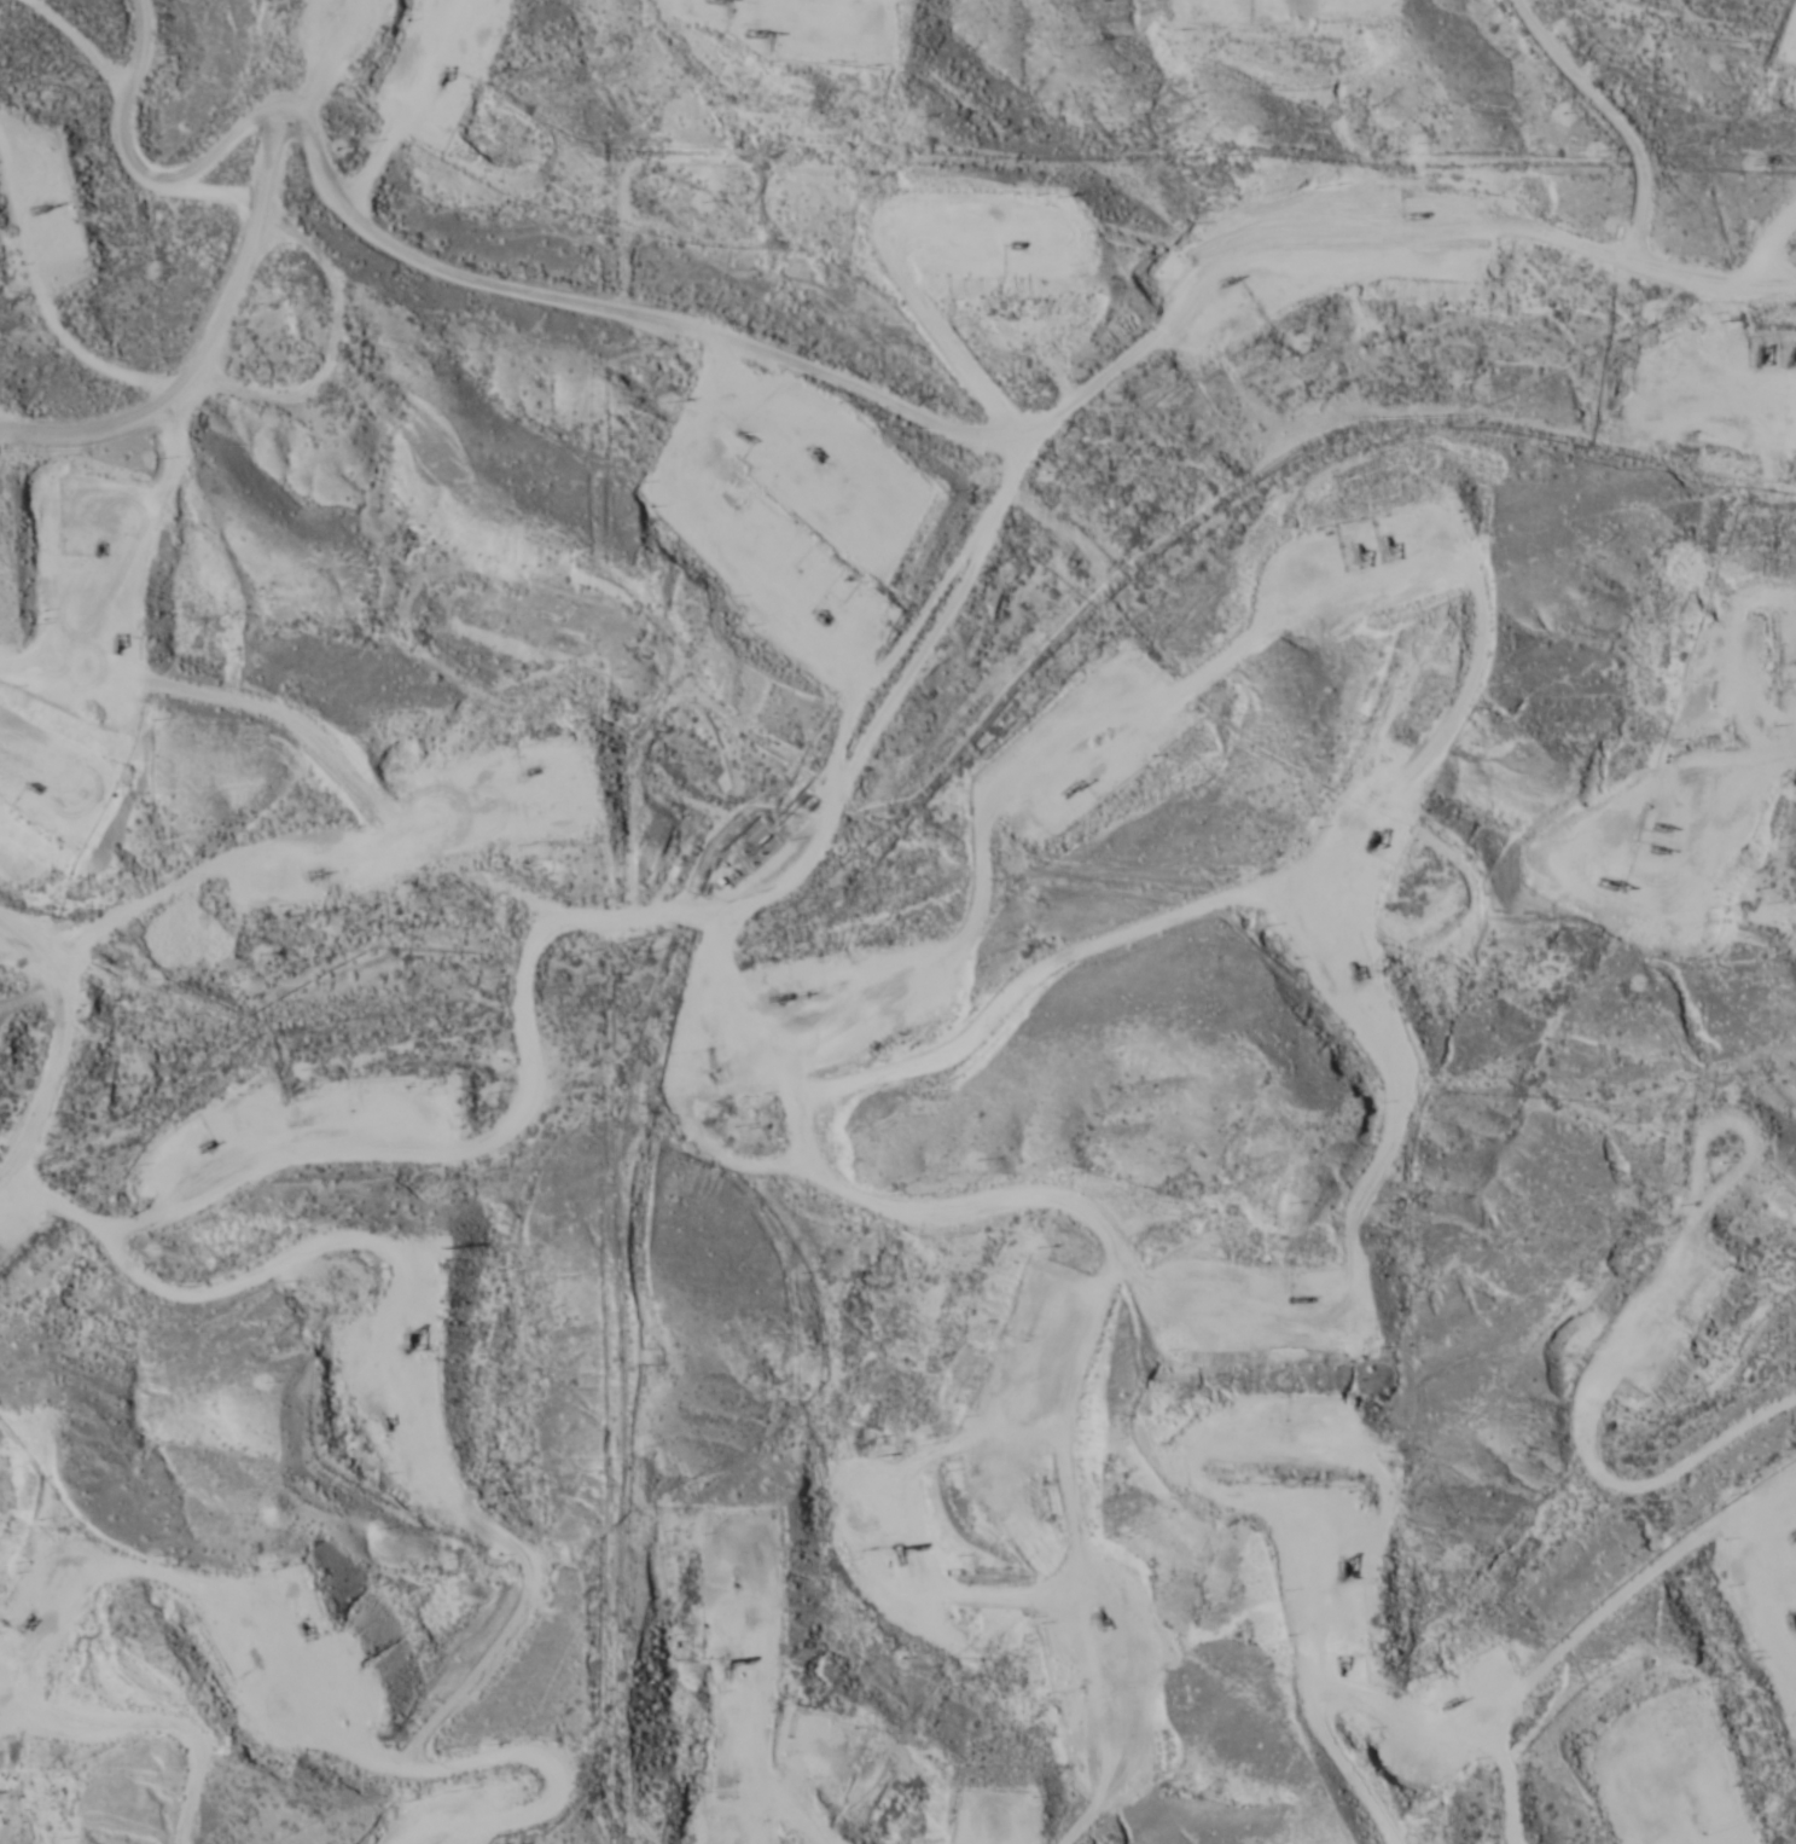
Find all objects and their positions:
road: (1772, 12)
road: (318, 85)
road: (1308, 227)
road: (645, 318)
road: (204, 319)
road: (983, 527)
building: (454, 805)
road: (1210, 891)
road: (16, 1067)
road: (422, 1350)
road: (900, 1419)
road: (1628, 1601)
road: (1720, 1711)
road: (147, 1724)

